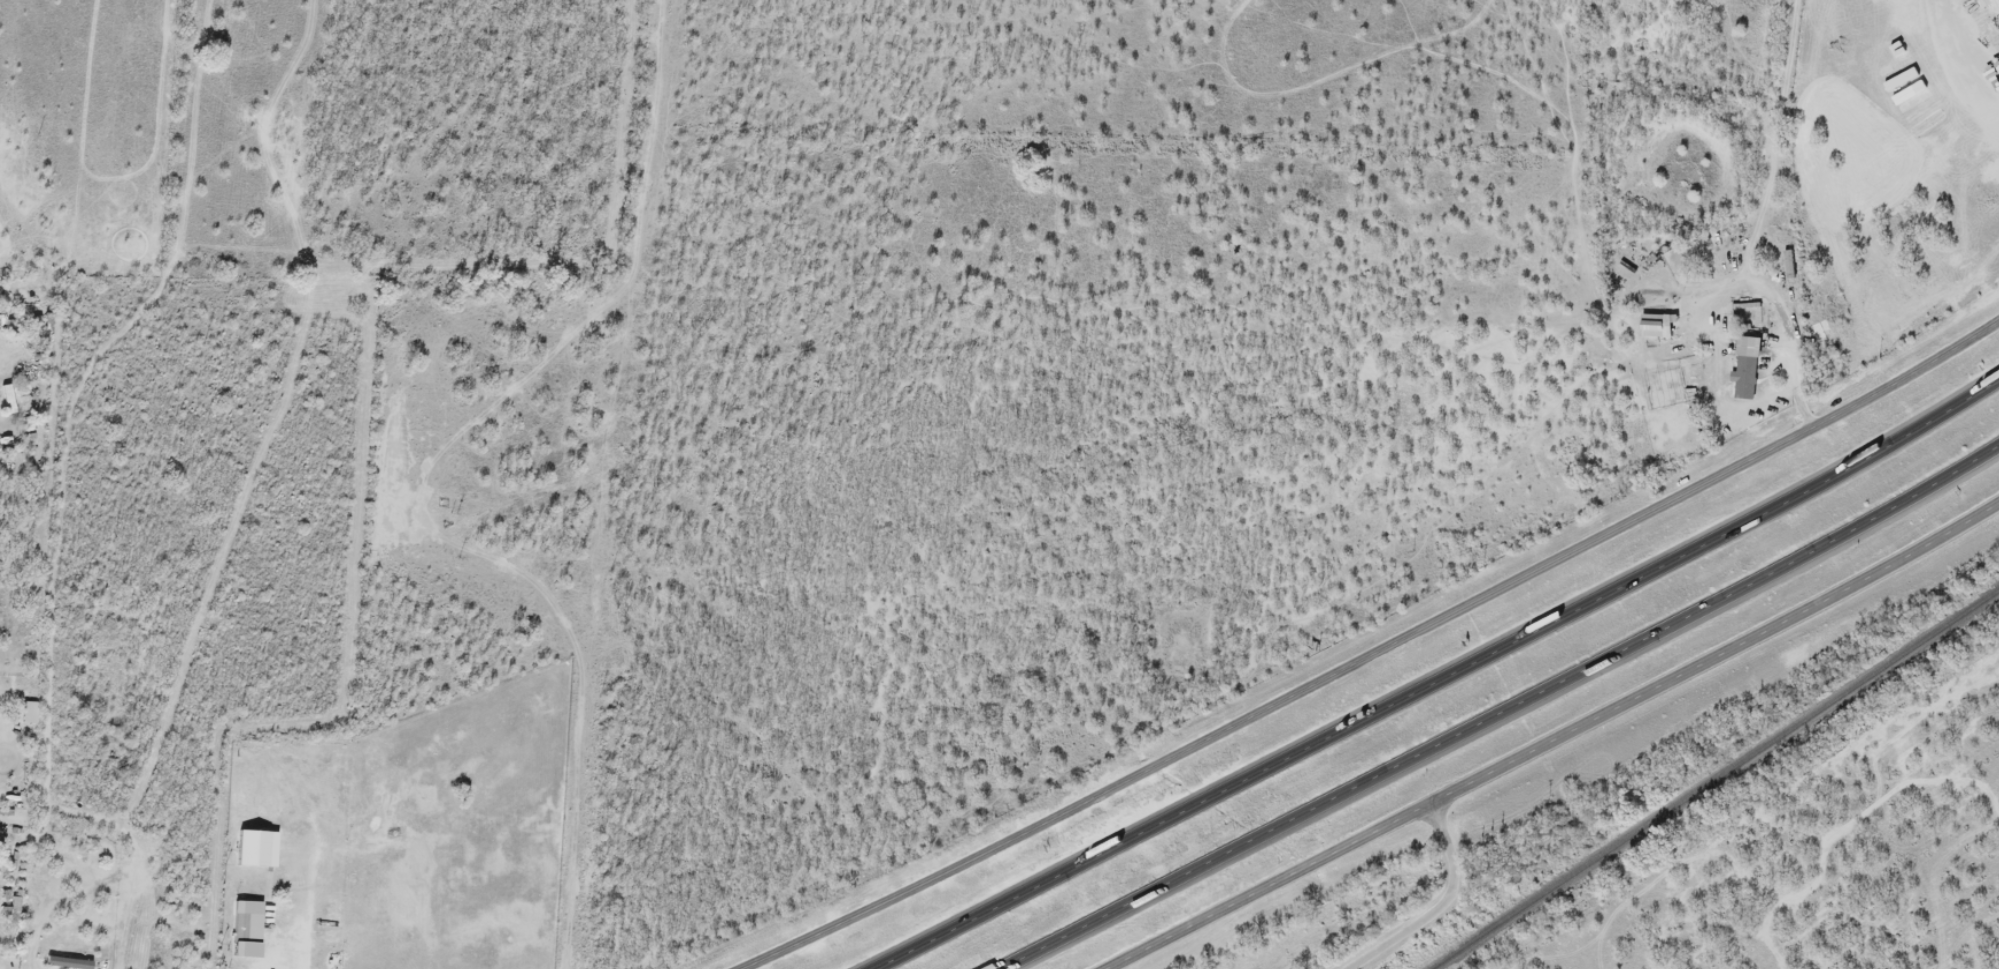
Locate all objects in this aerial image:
road: (1784, 315)
building: (1822, 332)
building: (1747, 375)
road: (1371, 653)
road: (1719, 656)
road: (1440, 678)
road: (1502, 714)
railway: (1716, 781)
building: (270, 849)
road: (1273, 887)
road: (1443, 903)
building: (240, 925)
building: (91, 967)

